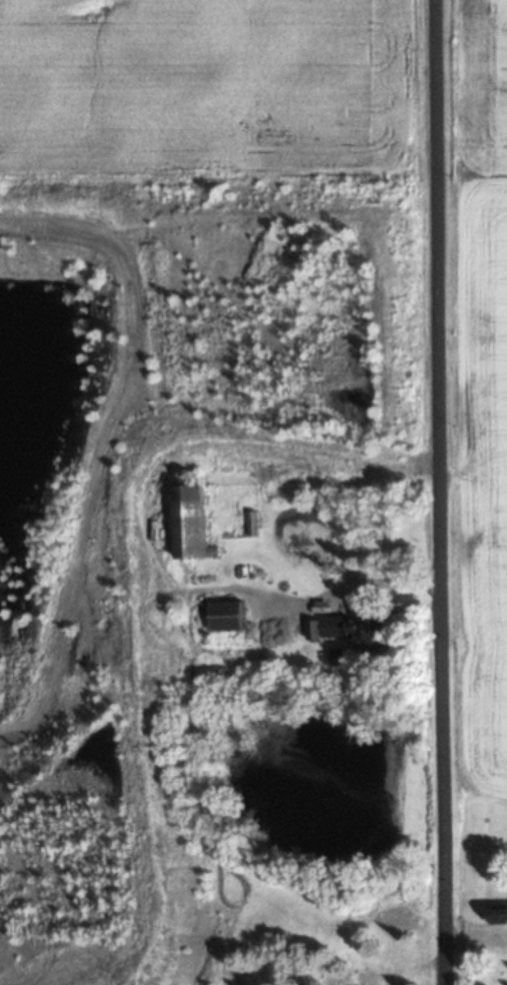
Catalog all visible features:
road: (441, 492)
building: (183, 522)
quarry: (82, 574)
road: (341, 590)
building: (221, 616)
building: (341, 629)
building: (495, 914)

